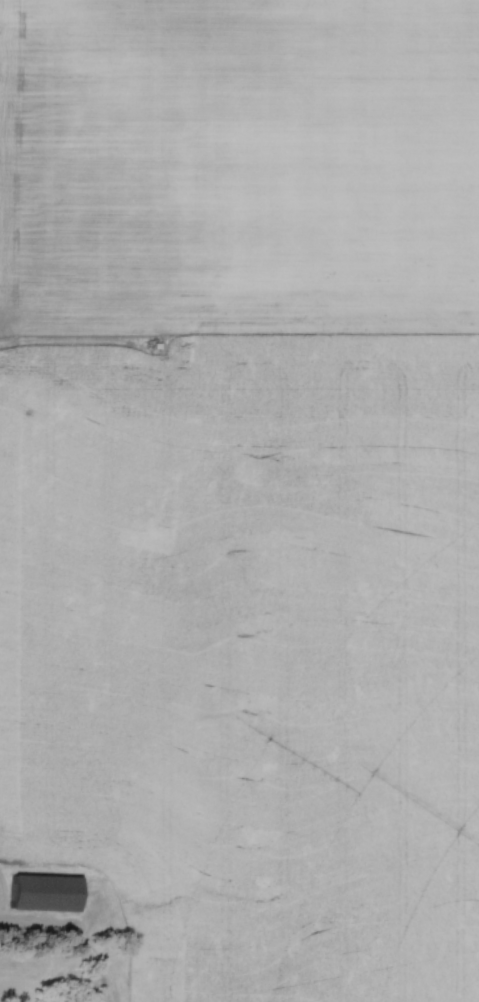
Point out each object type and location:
building: (41, 891)

